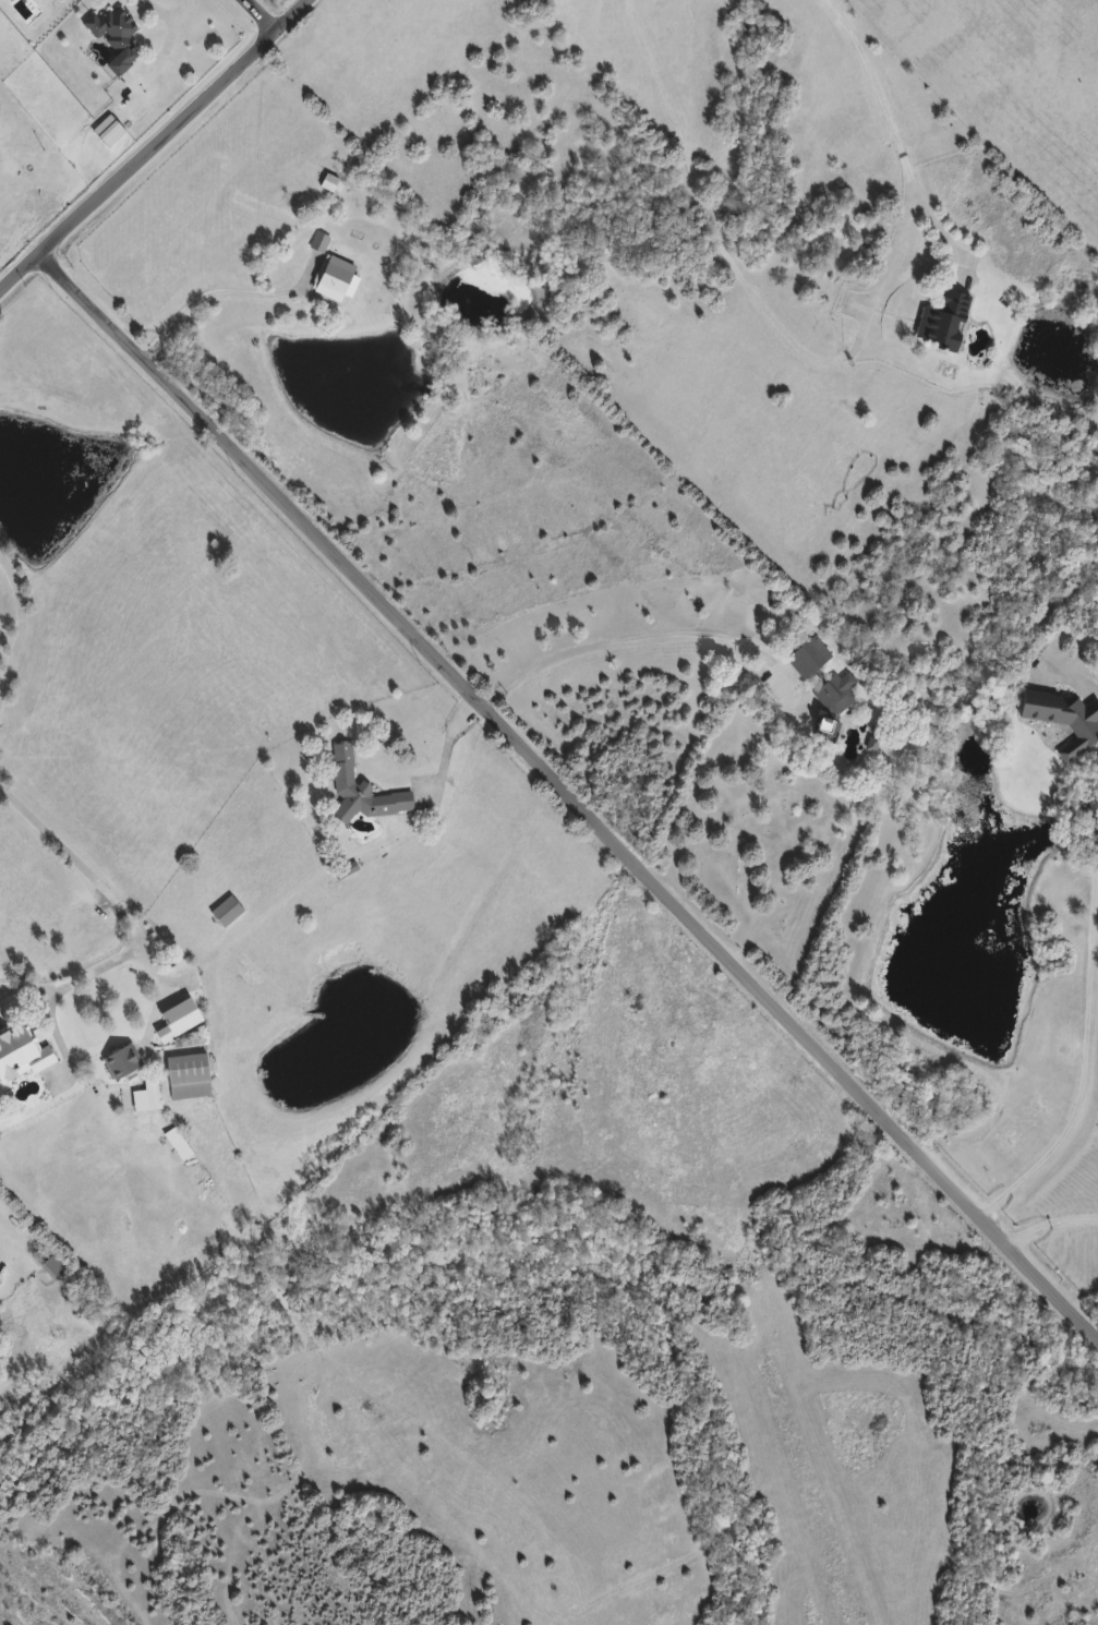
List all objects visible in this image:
road: (261, 15)
building: (117, 37)
road: (895, 131)
building: (110, 132)
road: (154, 145)
building: (321, 242)
building: (338, 280)
road: (209, 293)
road: (745, 294)
building: (945, 322)
road: (19, 622)
road: (627, 638)
building: (810, 659)
building: (834, 706)
building: (1065, 721)
building: (363, 792)
road: (570, 797)
park: (760, 835)
road: (79, 860)
building: (228, 913)
building: (22, 1056)
road: (1085, 1057)
building: (124, 1062)
building: (190, 1078)
road: (1049, 1220)
building: (56, 1269)

